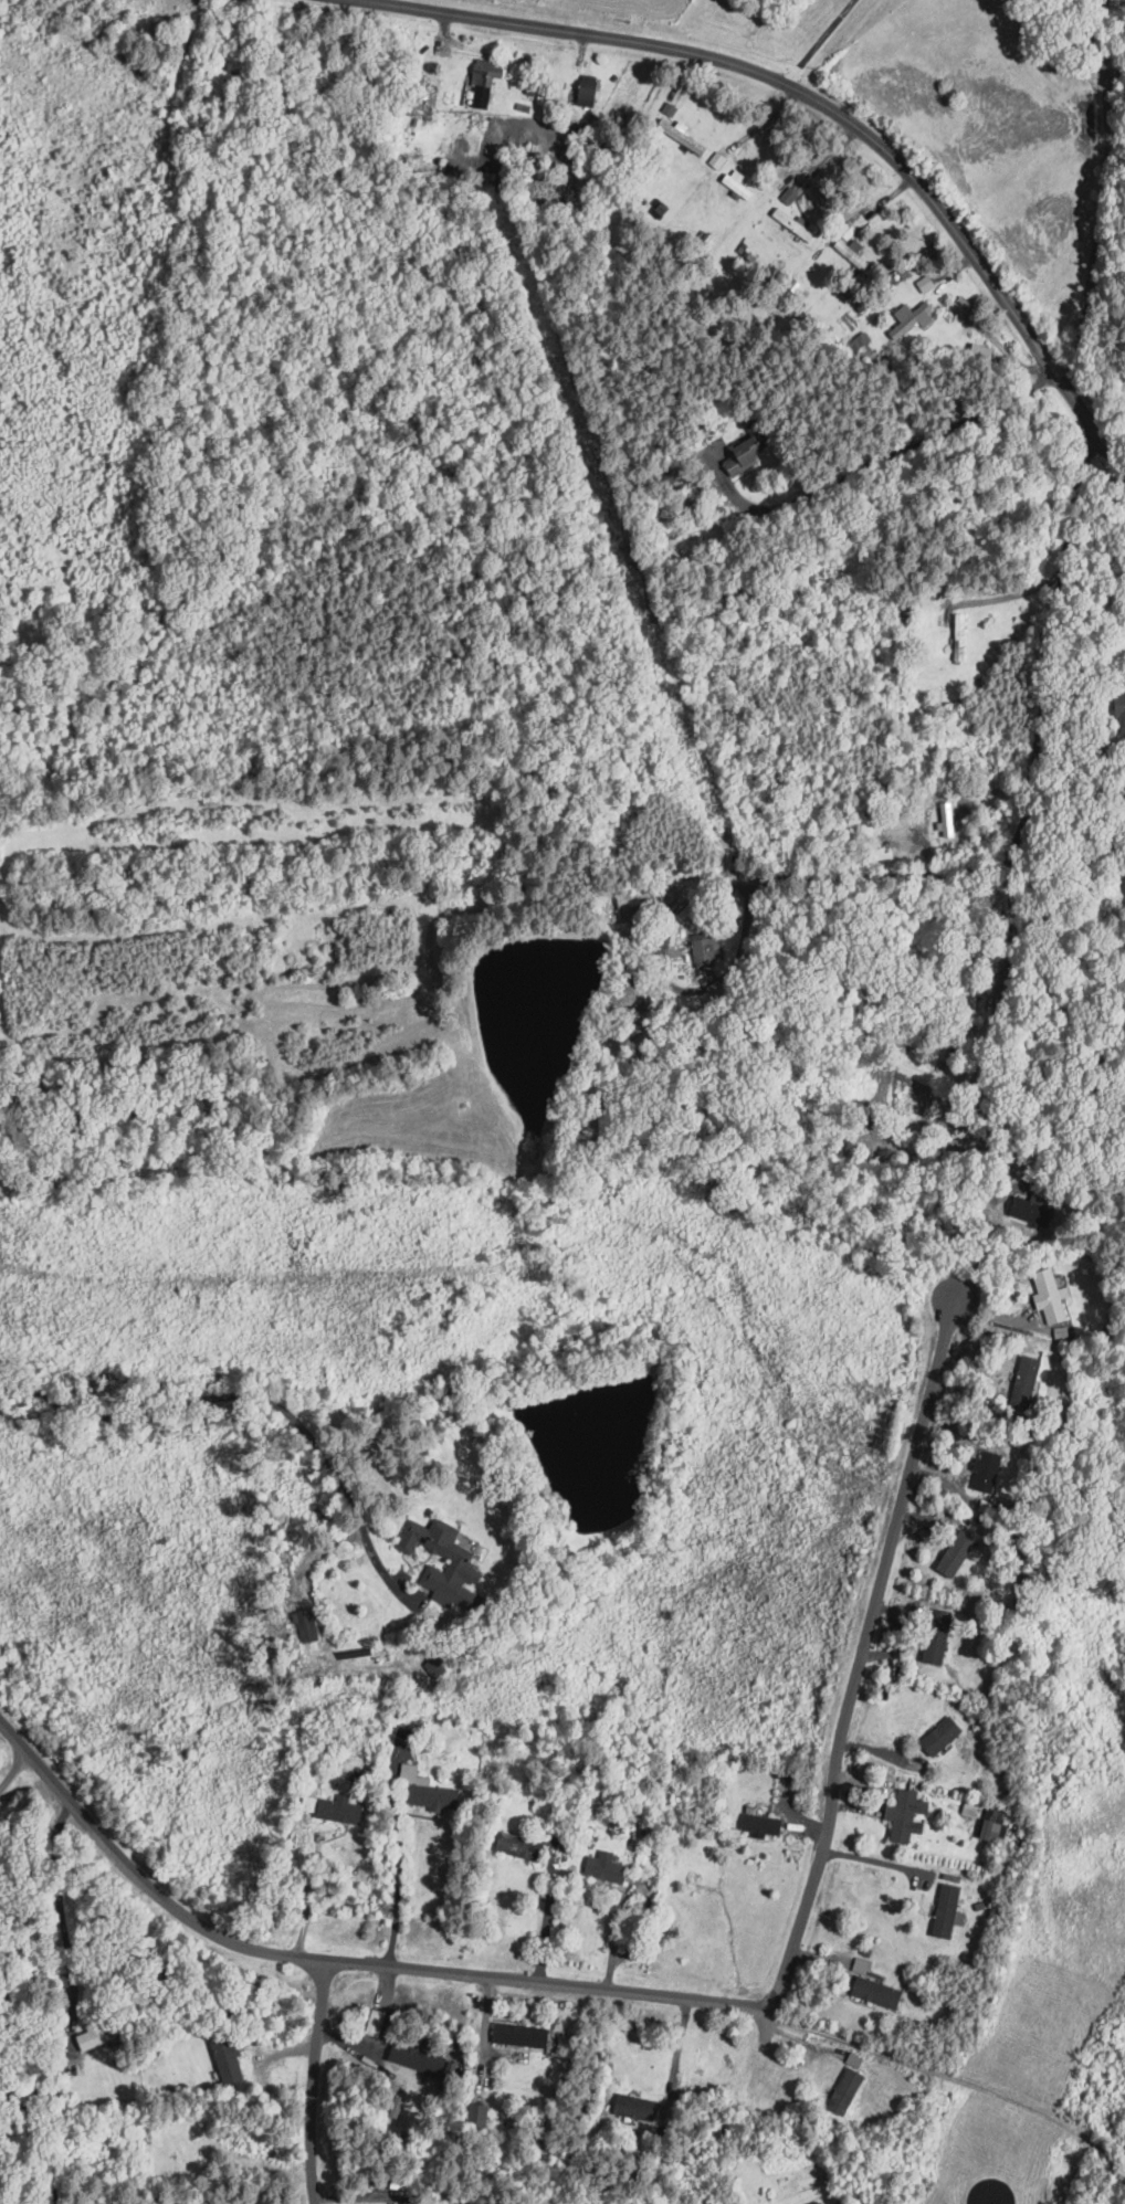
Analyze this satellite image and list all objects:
road: (820, 42)
building: (487, 81)
building: (590, 89)
road: (820, 103)
building: (670, 108)
building: (688, 136)
building: (739, 183)
road: (1098, 225)
building: (927, 282)
building: (964, 304)
building: (913, 317)
building: (746, 454)
road: (880, 457)
building: (963, 630)
road: (1049, 664)
road: (1097, 788)
road: (696, 892)
road: (1010, 916)
building: (701, 953)
road: (977, 1252)
building: (1054, 1300)
building: (1030, 1375)
road: (234, 1396)
building: (990, 1472)
building: (954, 1563)
building: (462, 1564)
building: (937, 1654)
road: (861, 1658)
building: (943, 1736)
road: (13, 1769)
building: (429, 1789)
building: (345, 1808)
building: (970, 1808)
building: (907, 1814)
building: (765, 1823)
building: (992, 1828)
building: (524, 1845)
road: (881, 1863)
road: (313, 1866)
building: (609, 1868)
road: (399, 1883)
building: (949, 1910)
road: (545, 1919)
road: (609, 1933)
road: (338, 1962)
building: (862, 1964)
building: (880, 1992)
building: (378, 2021)
building: (524, 2034)
building: (96, 2035)
road: (6, 2040)
road: (677, 2046)
building: (230, 2057)
building: (420, 2057)
building: (855, 2059)
road: (311, 2081)
road: (959, 2081)
building: (848, 2088)
building: (638, 2107)
building: (482, 2113)
road: (39, 2141)
airport runway: (995, 2200)
building: (820, 2202)
building: (169, 2203)

